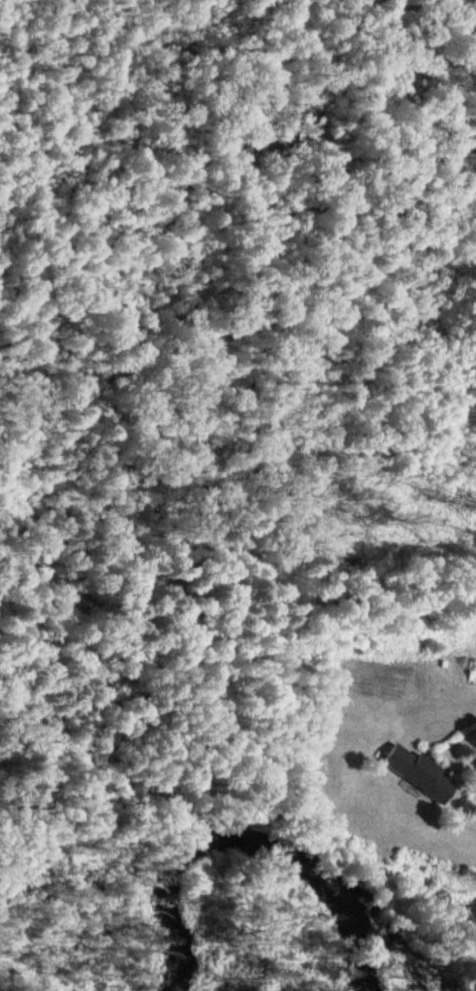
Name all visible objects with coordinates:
building: (415, 775)
river: (258, 846)

